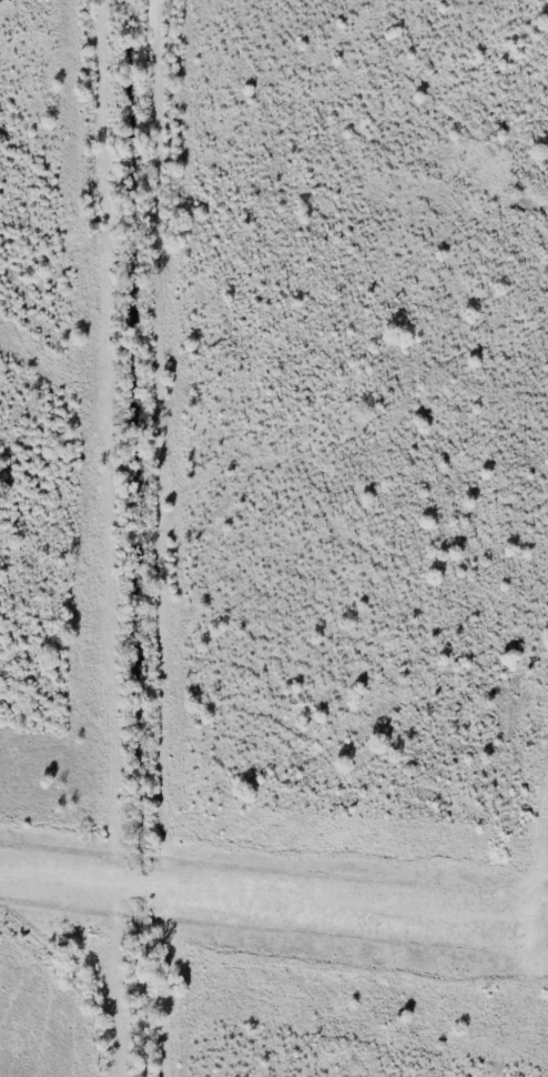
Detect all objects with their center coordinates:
railway: (274, 251)
road: (265, 897)

